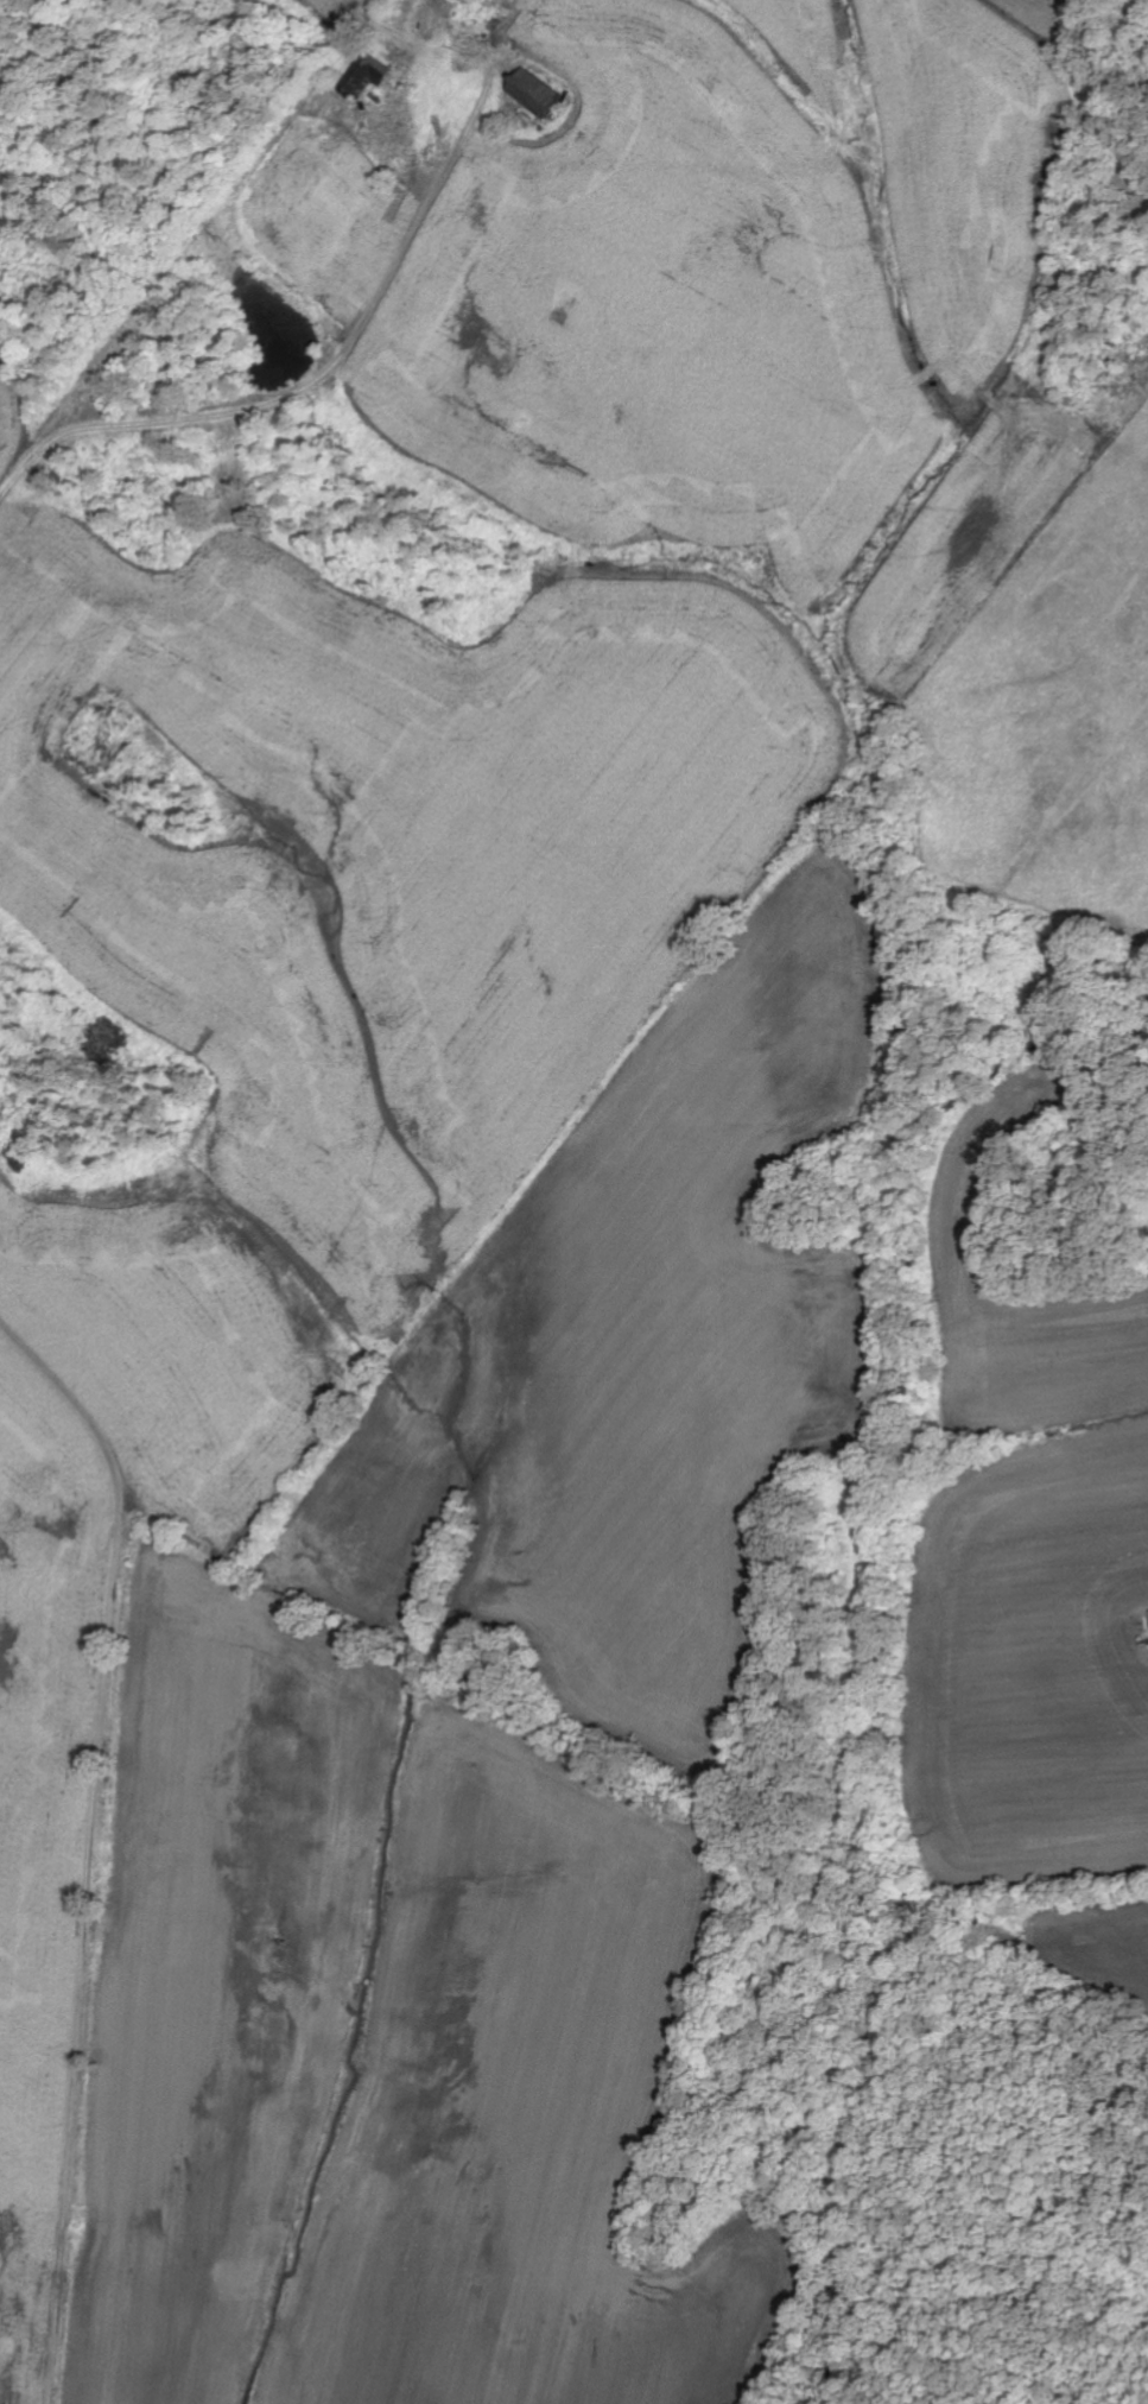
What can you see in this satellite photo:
road: (306, 65)
building: (374, 76)
building: (539, 93)
road: (2, 505)
road: (59, 582)
road: (965, 959)

